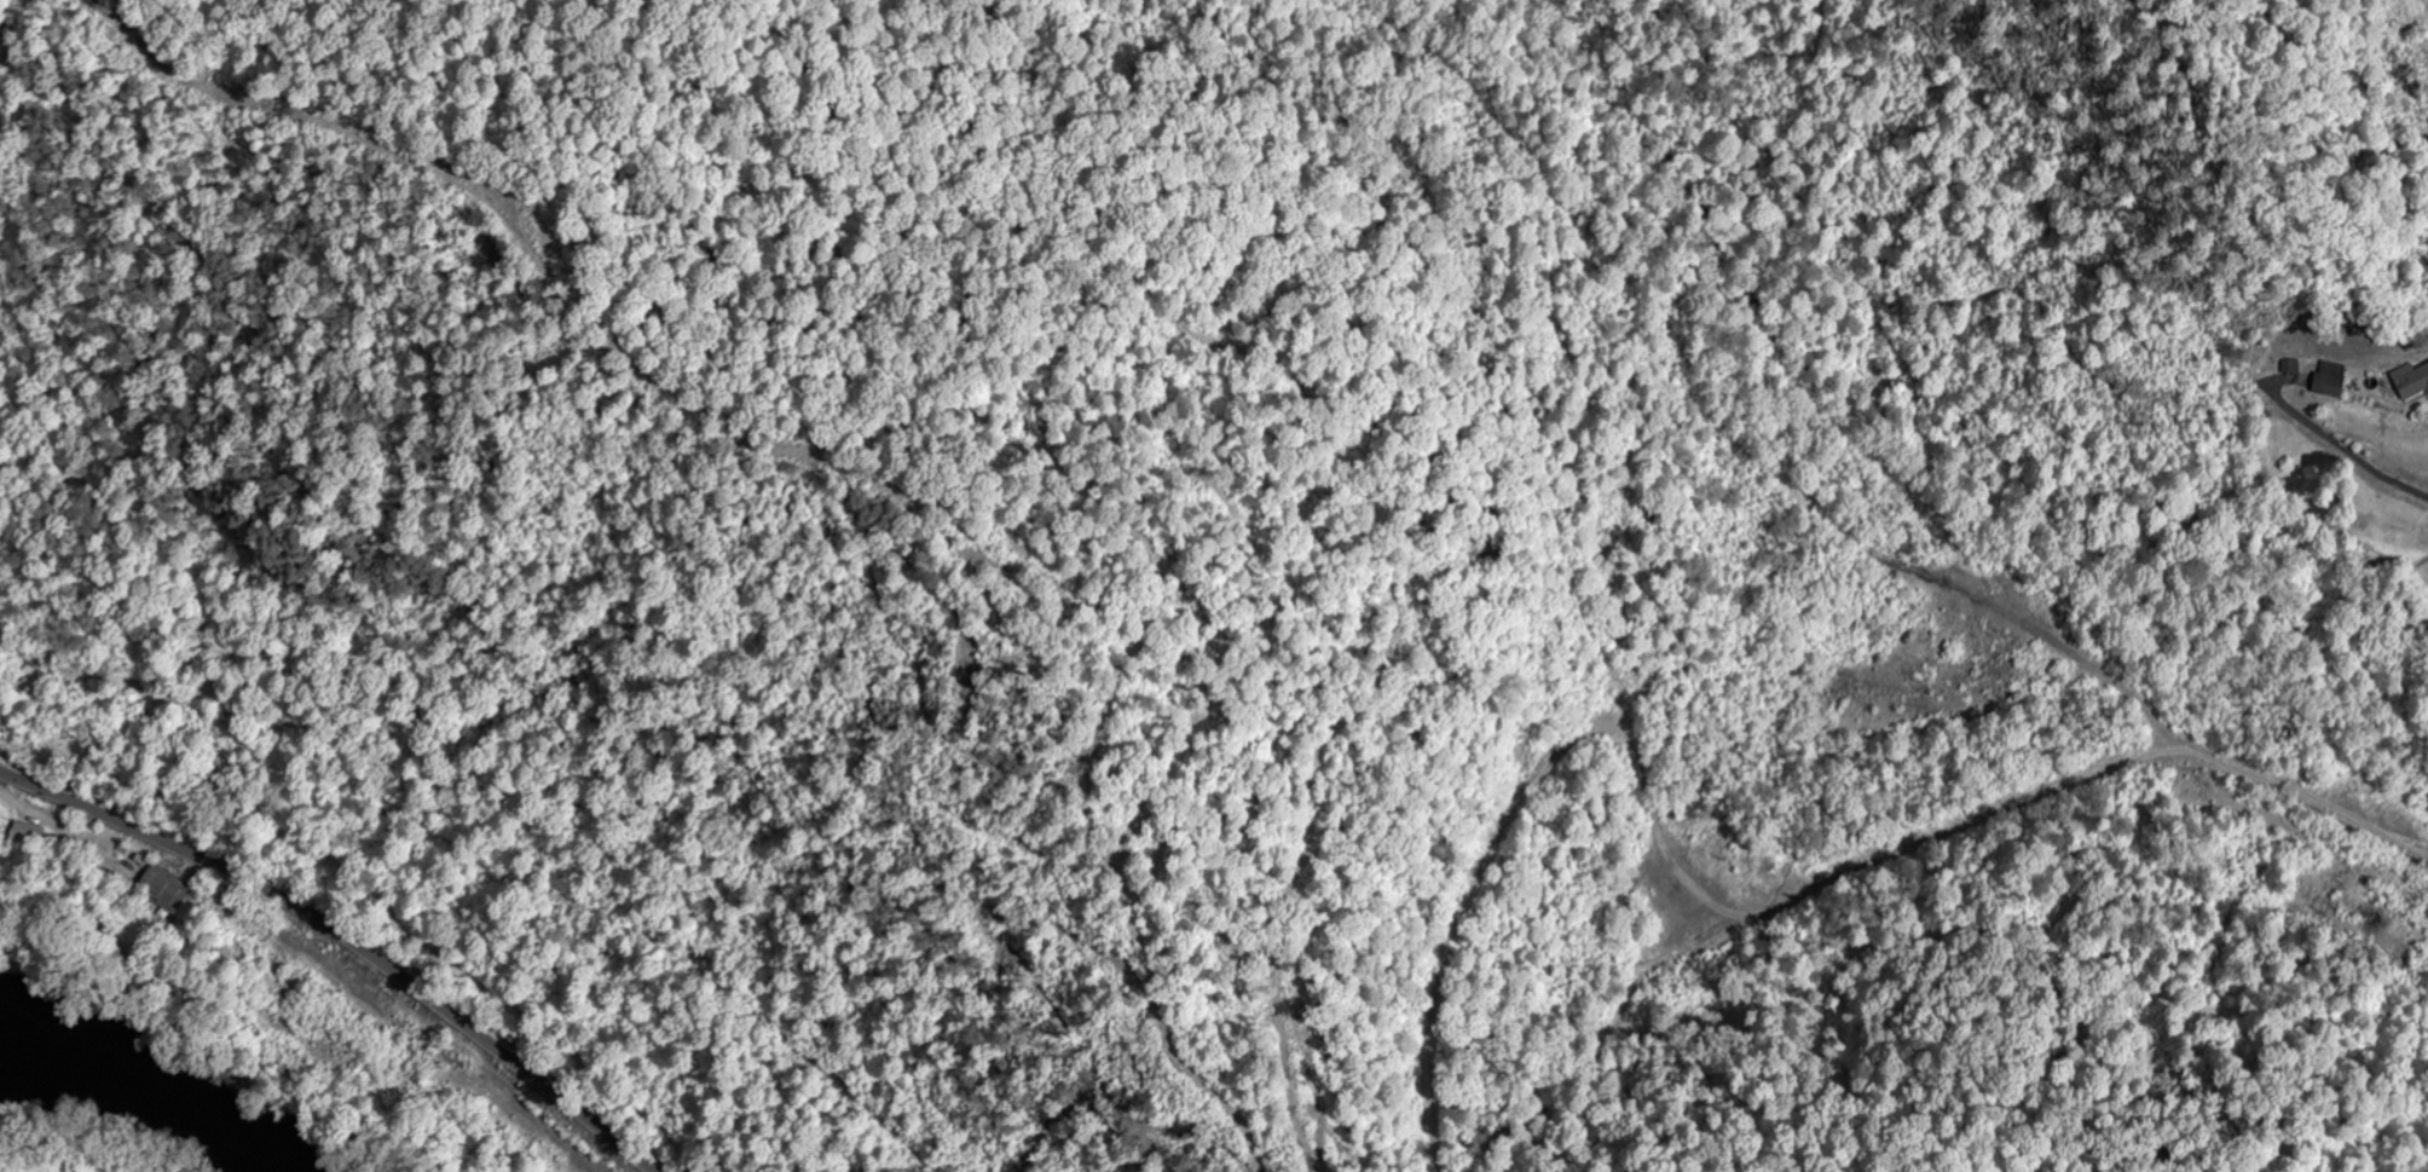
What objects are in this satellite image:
building: (2290, 366)
building: (2411, 383)
building: (2328, 386)
building: (27, 835)
building: (164, 889)
road: (346, 939)
river: (17, 1057)
river: (167, 1093)

